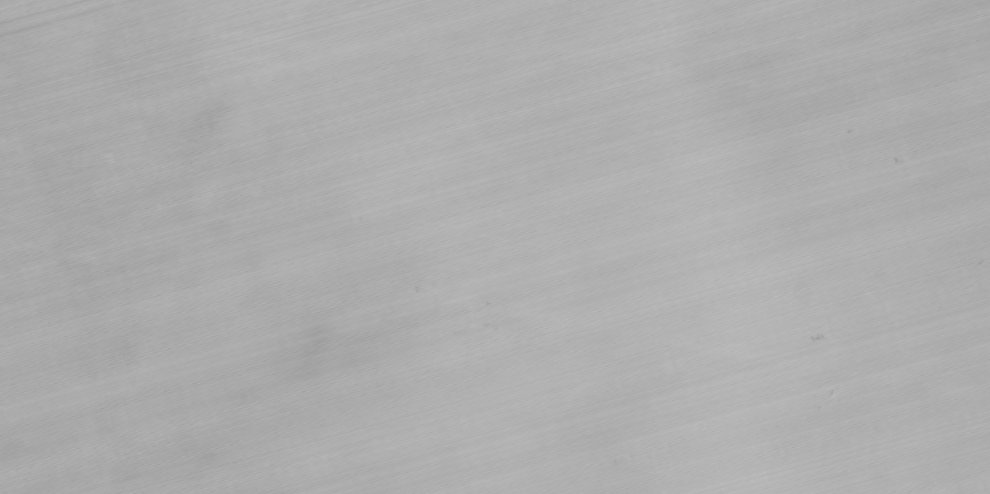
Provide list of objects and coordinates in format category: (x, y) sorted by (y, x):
road: (856, 248)

